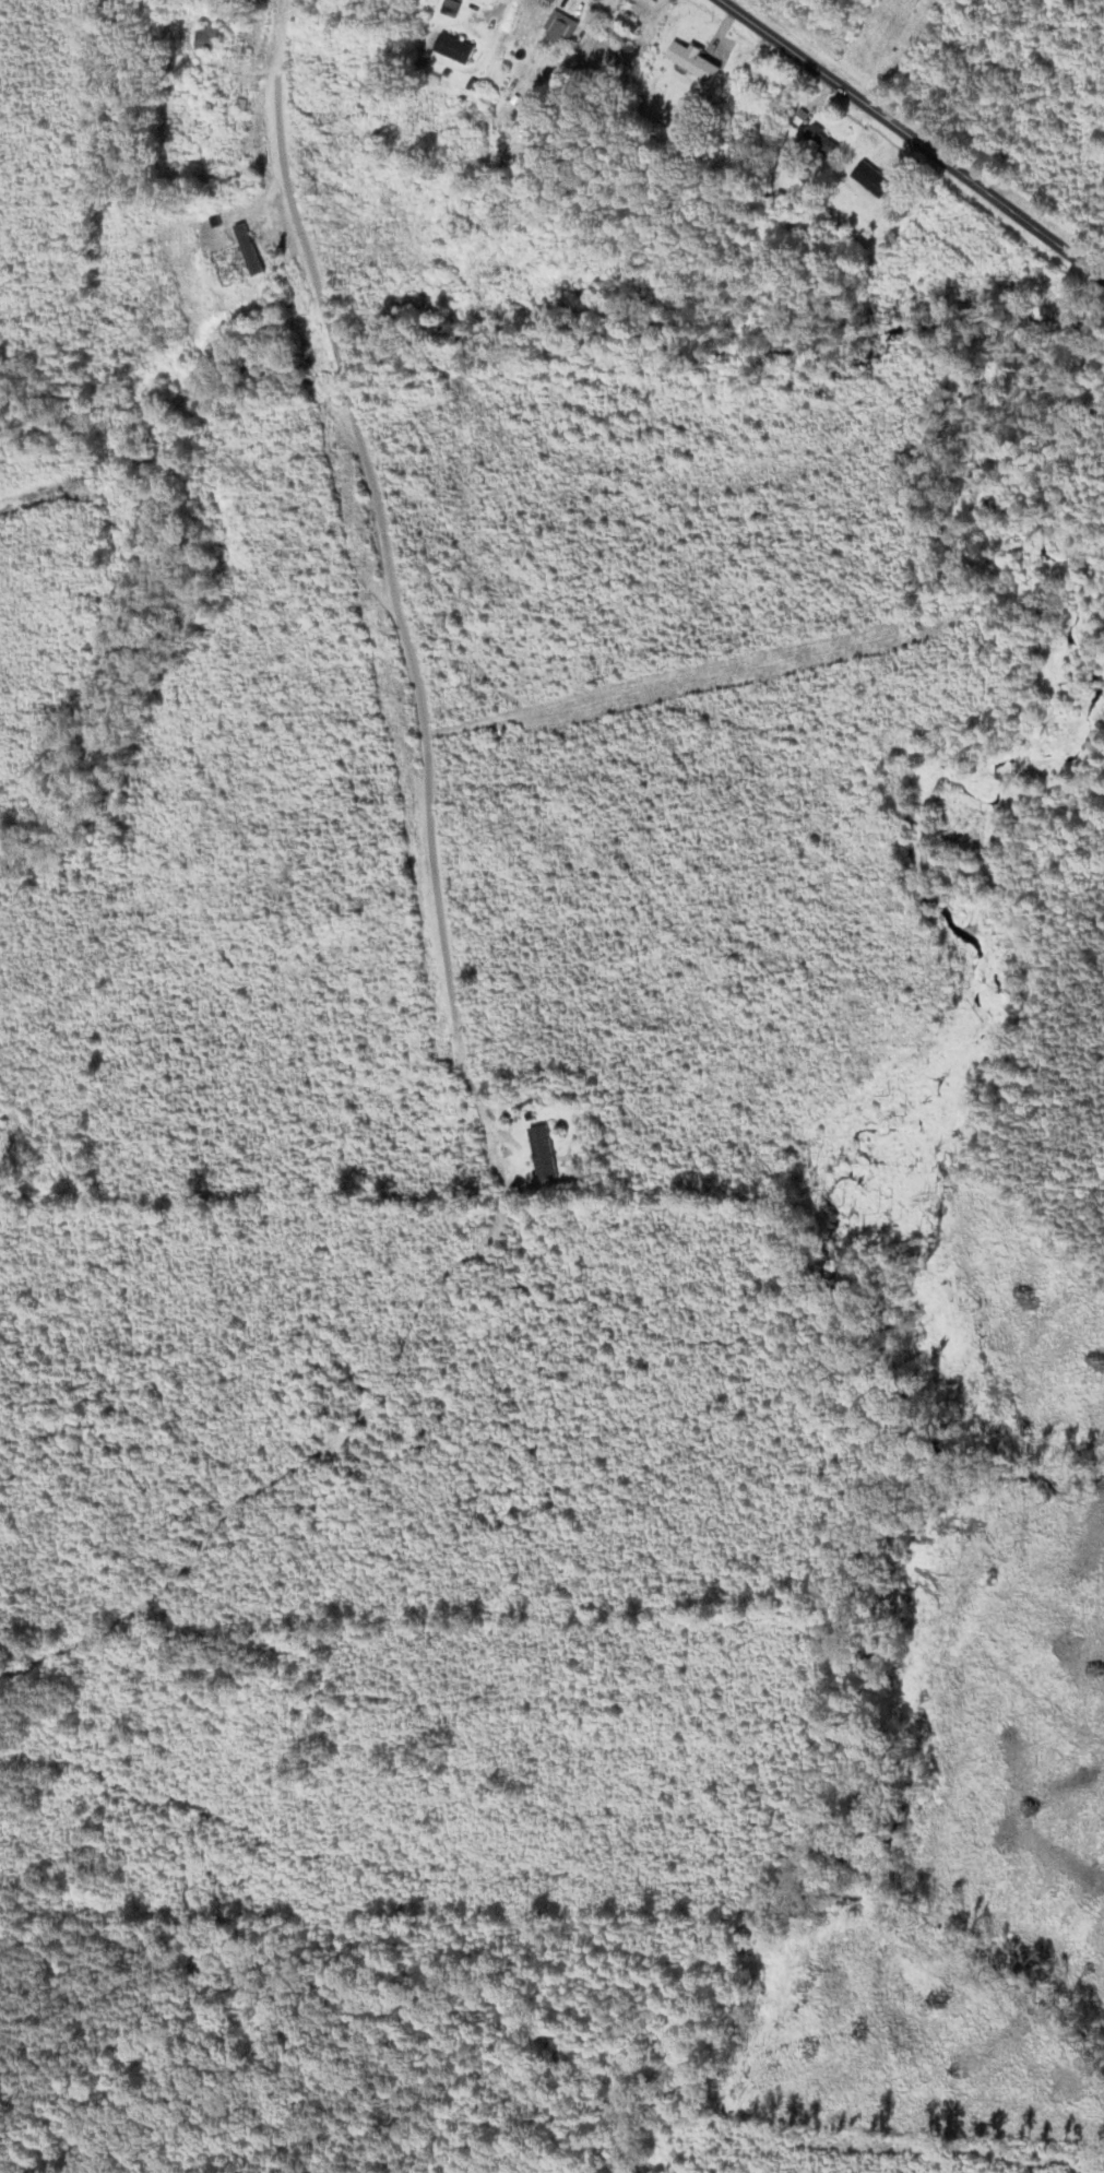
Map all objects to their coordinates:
building: (205, 37)
building: (554, 37)
building: (451, 49)
building: (690, 61)
road: (917, 140)
building: (817, 143)
building: (869, 179)
road: (387, 566)
building: (541, 1154)

